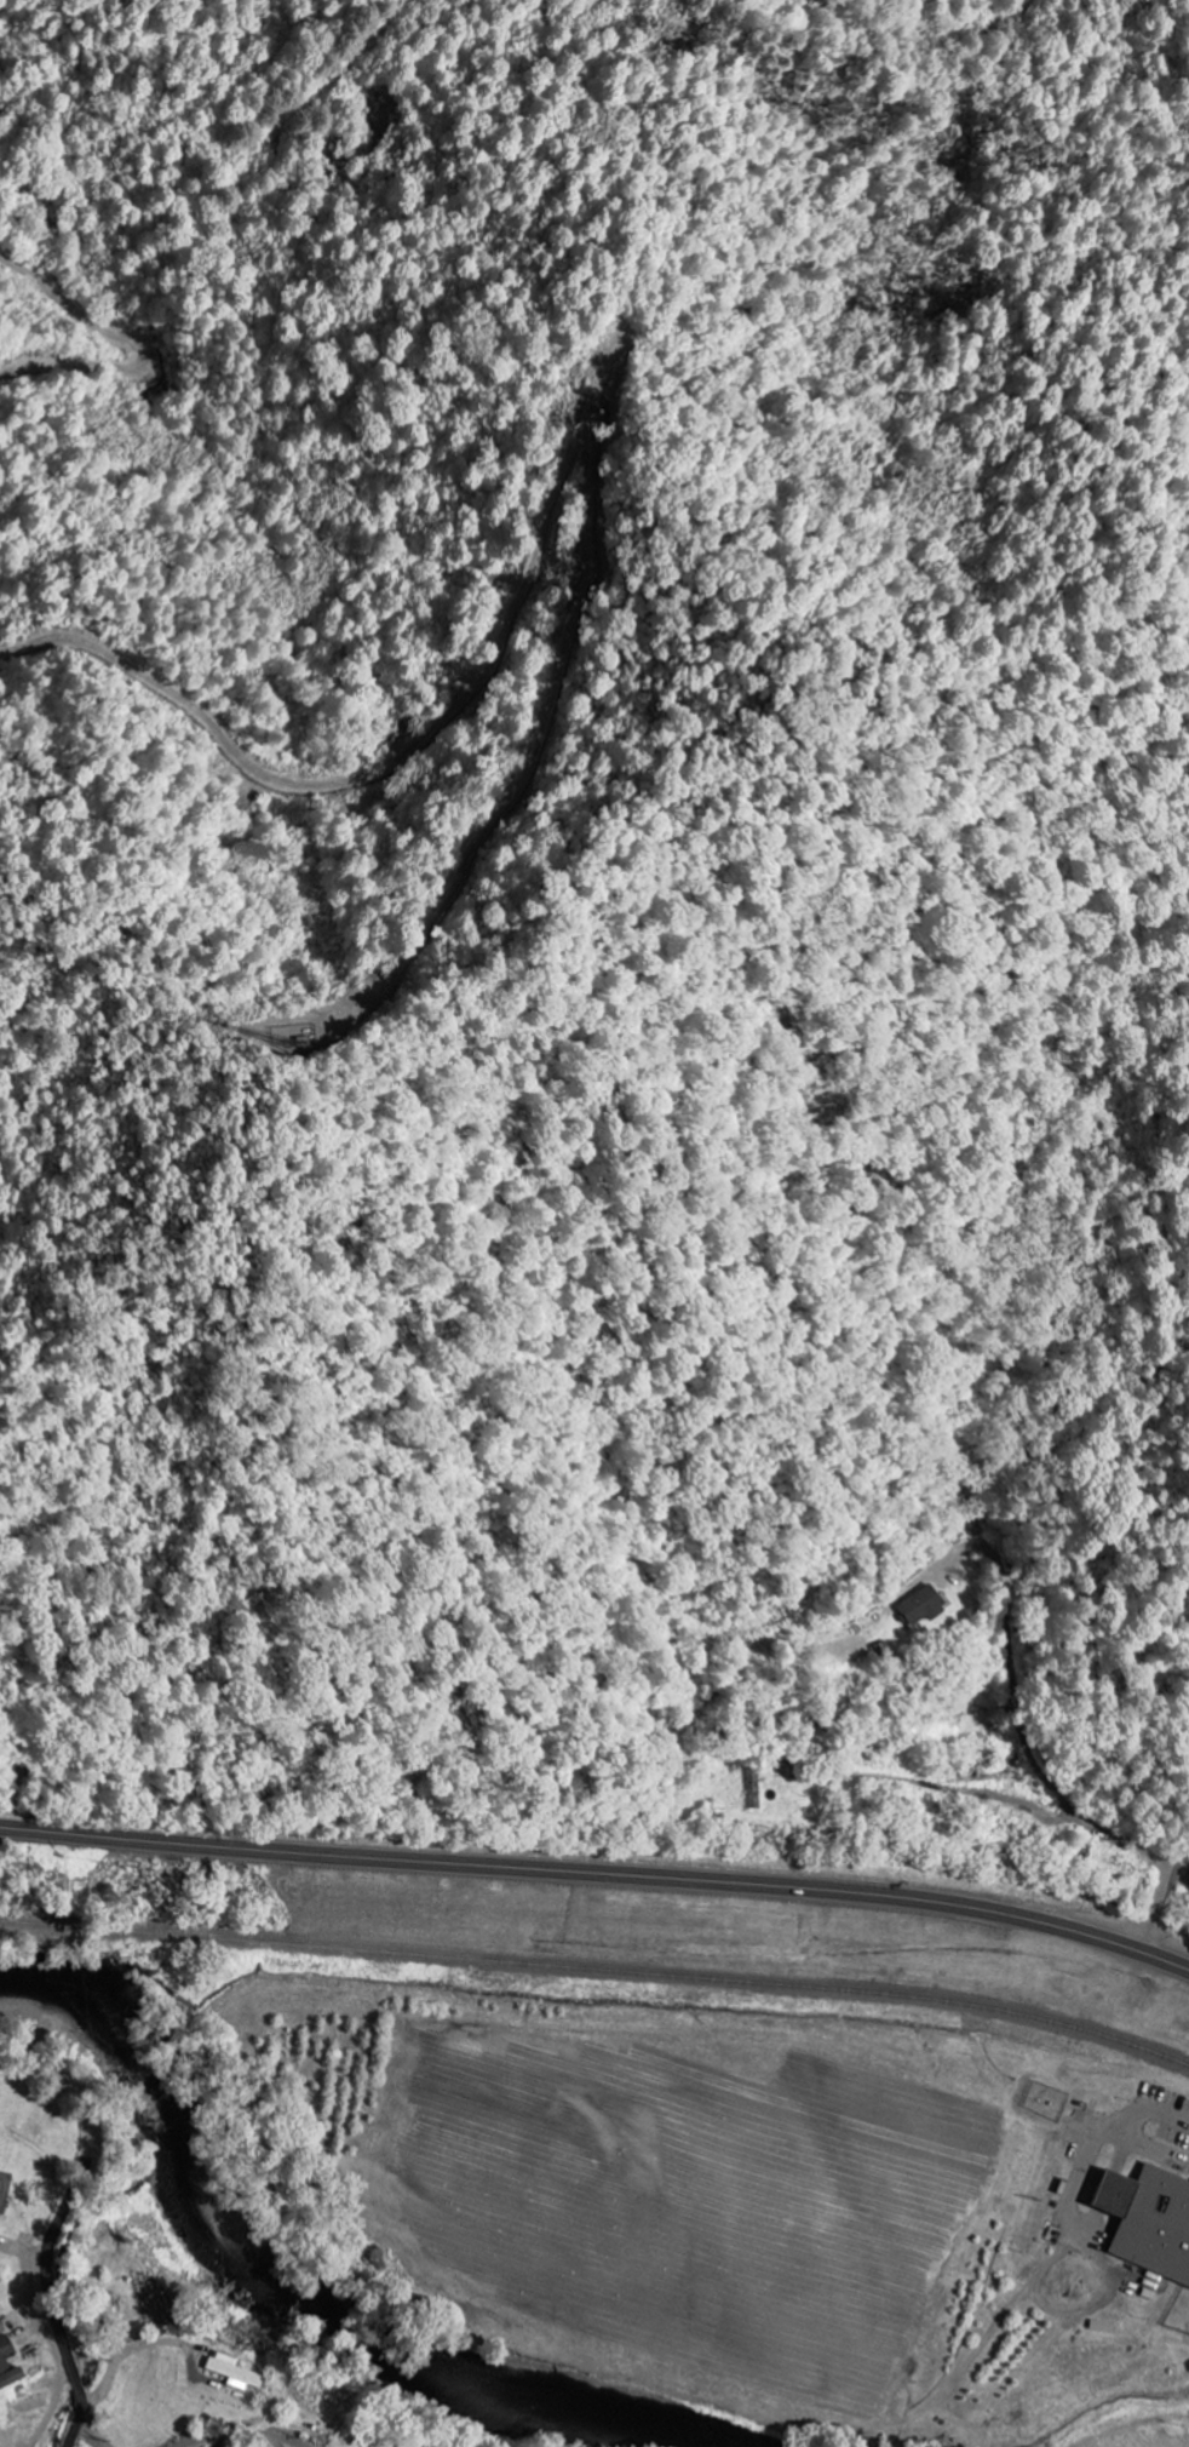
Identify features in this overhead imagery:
building: (918, 1606)
road: (598, 1873)
road: (1160, 1904)
railway: (601, 1960)
parking lot: (1170, 2113)
road: (1107, 2134)
road: (1113, 2177)
building: (4, 2190)
road: (63, 2214)
building: (1148, 2219)
river: (276, 2297)
building: (104, 2303)
building: (1, 2328)
building: (7, 2363)
building: (232, 2372)
road: (76, 2434)
road: (93, 2435)
road: (243, 2435)
road: (59, 2436)

